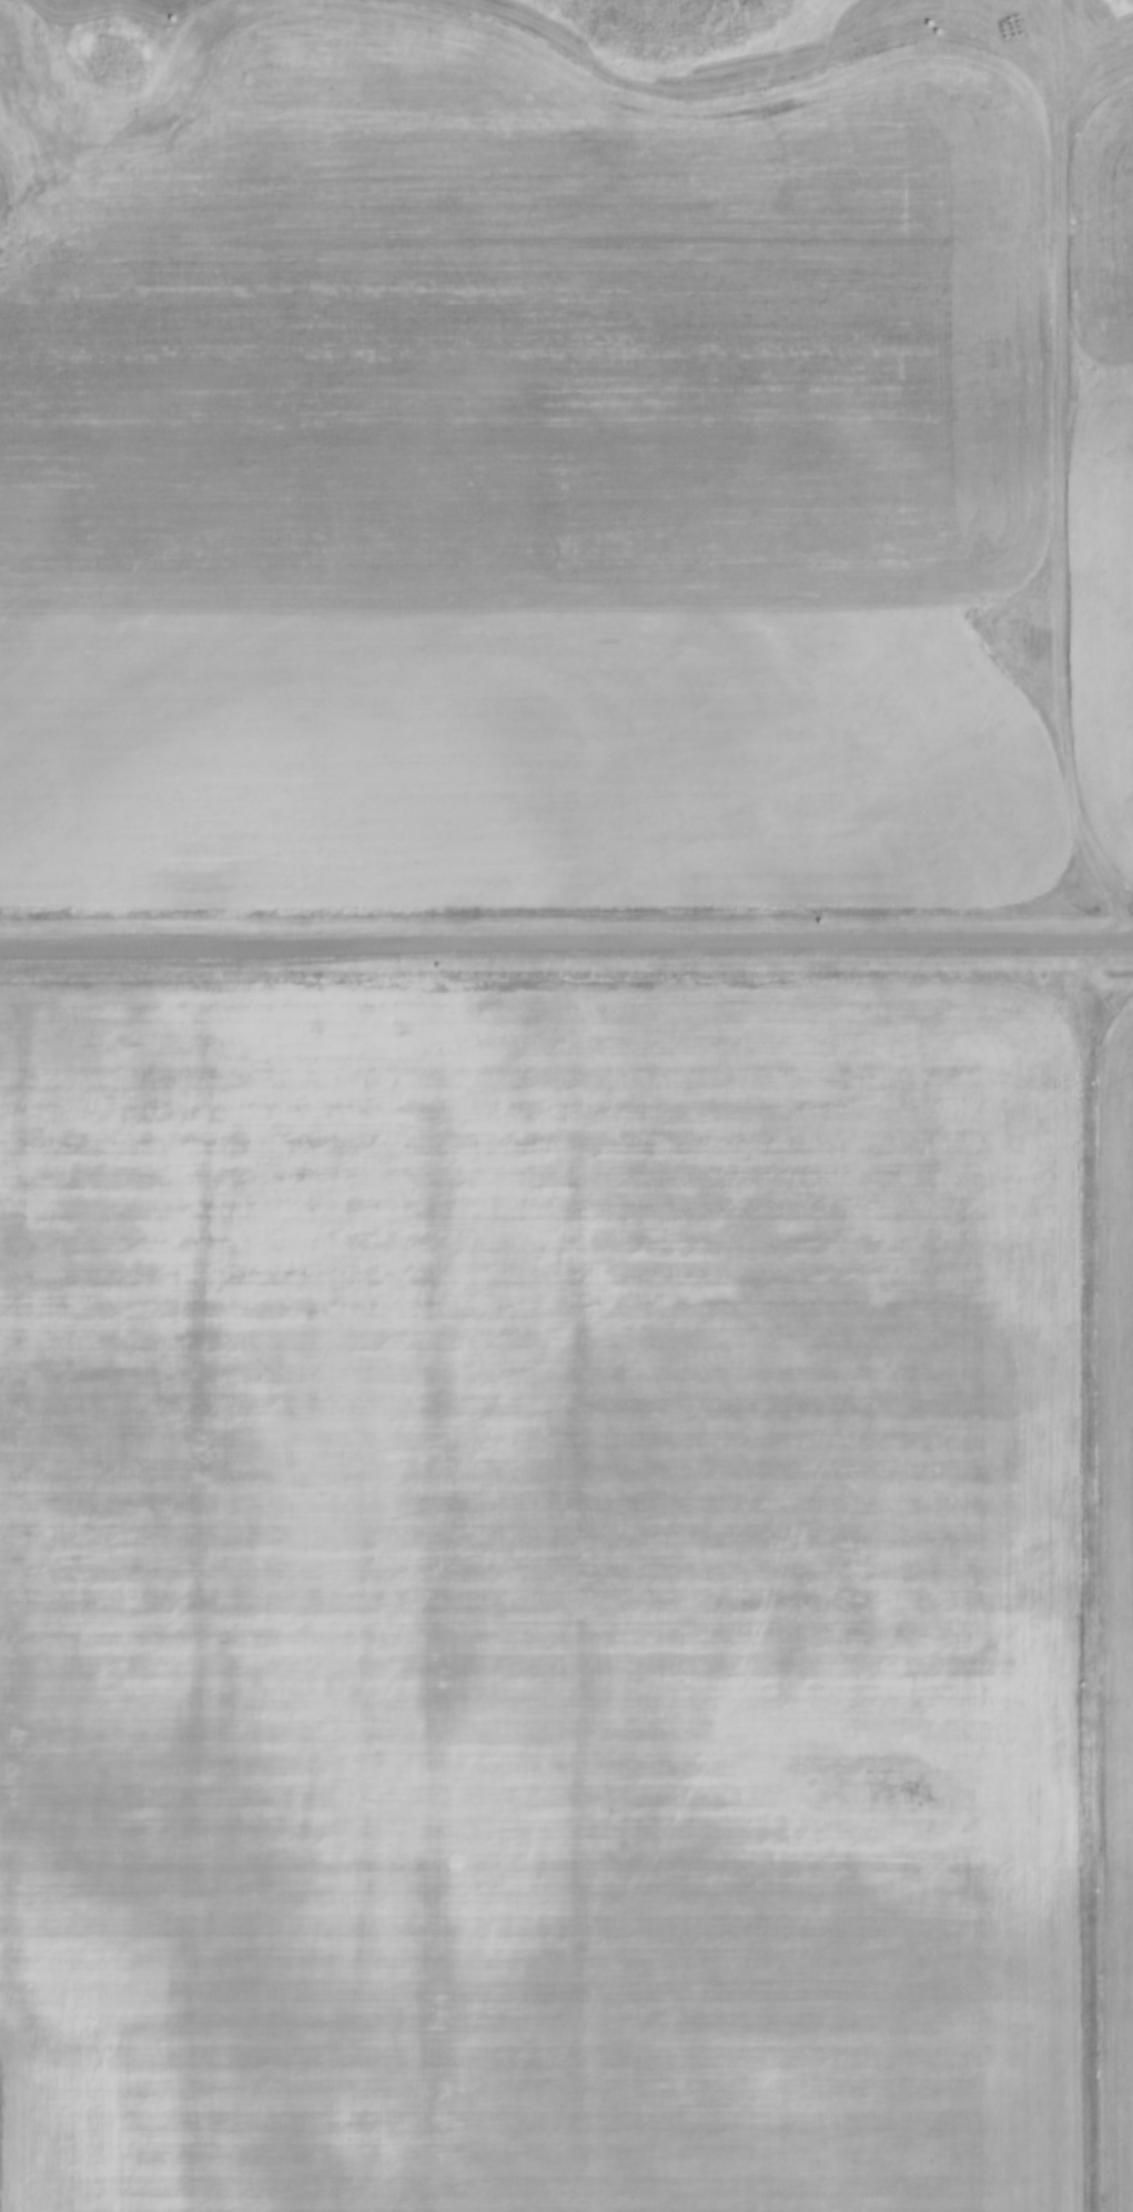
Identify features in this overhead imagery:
road: (1058, 479)
crop: (508, 745)
road: (566, 943)

